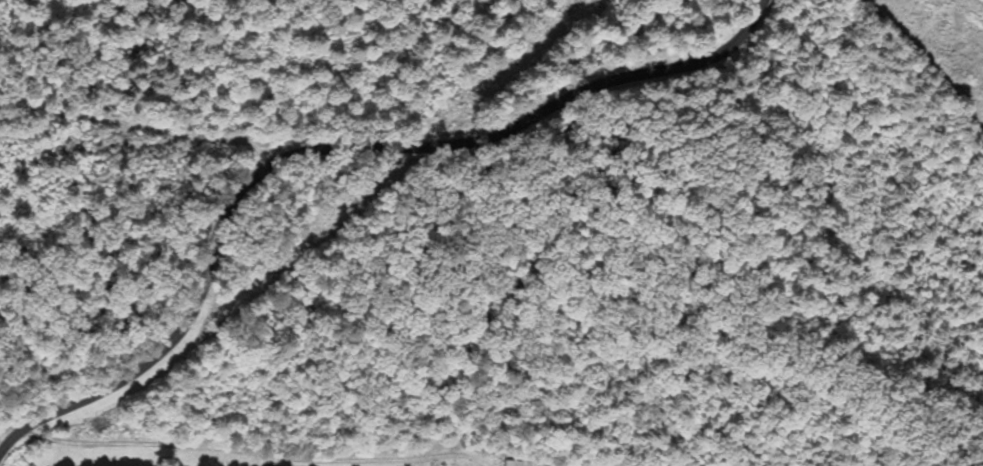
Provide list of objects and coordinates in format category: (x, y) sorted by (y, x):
road: (323, 138)
building: (515, 463)

